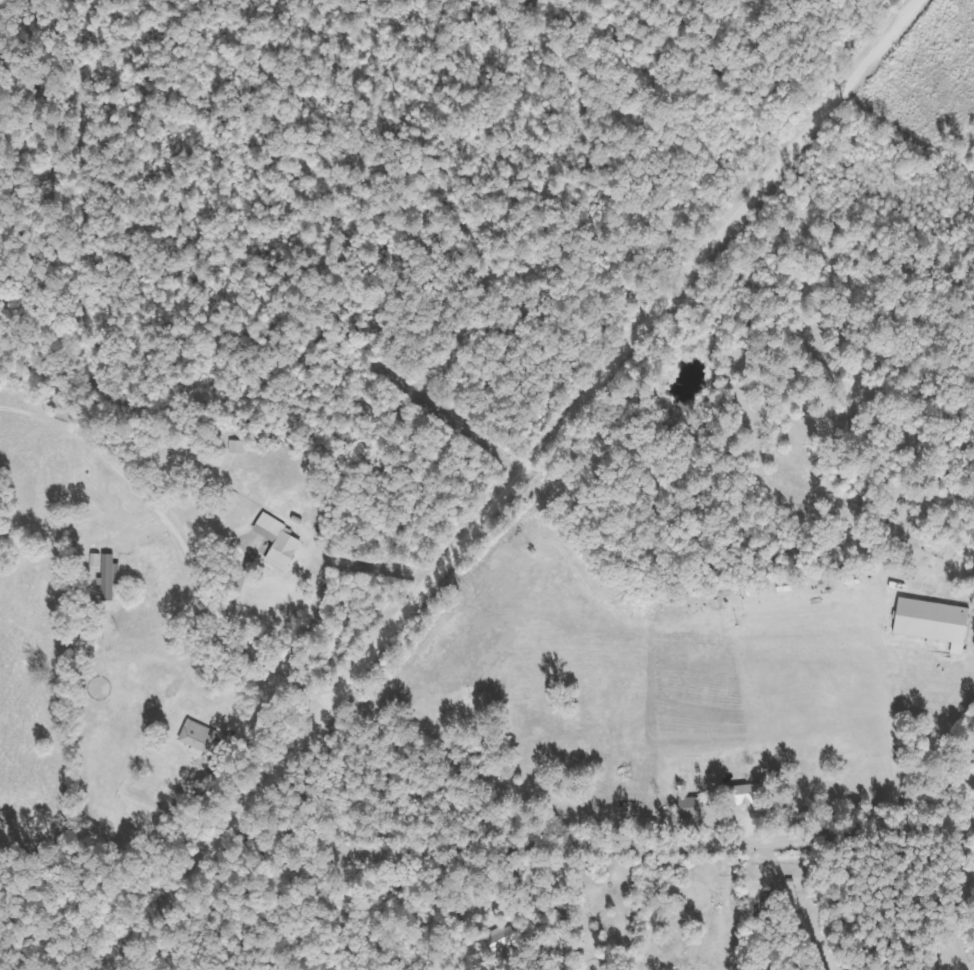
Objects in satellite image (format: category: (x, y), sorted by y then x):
road: (506, 483)
road: (221, 497)
building: (278, 541)
building: (105, 576)
building: (199, 737)
building: (473, 754)
building: (684, 807)
road: (603, 844)
building: (761, 902)
building: (671, 924)
building: (496, 938)

